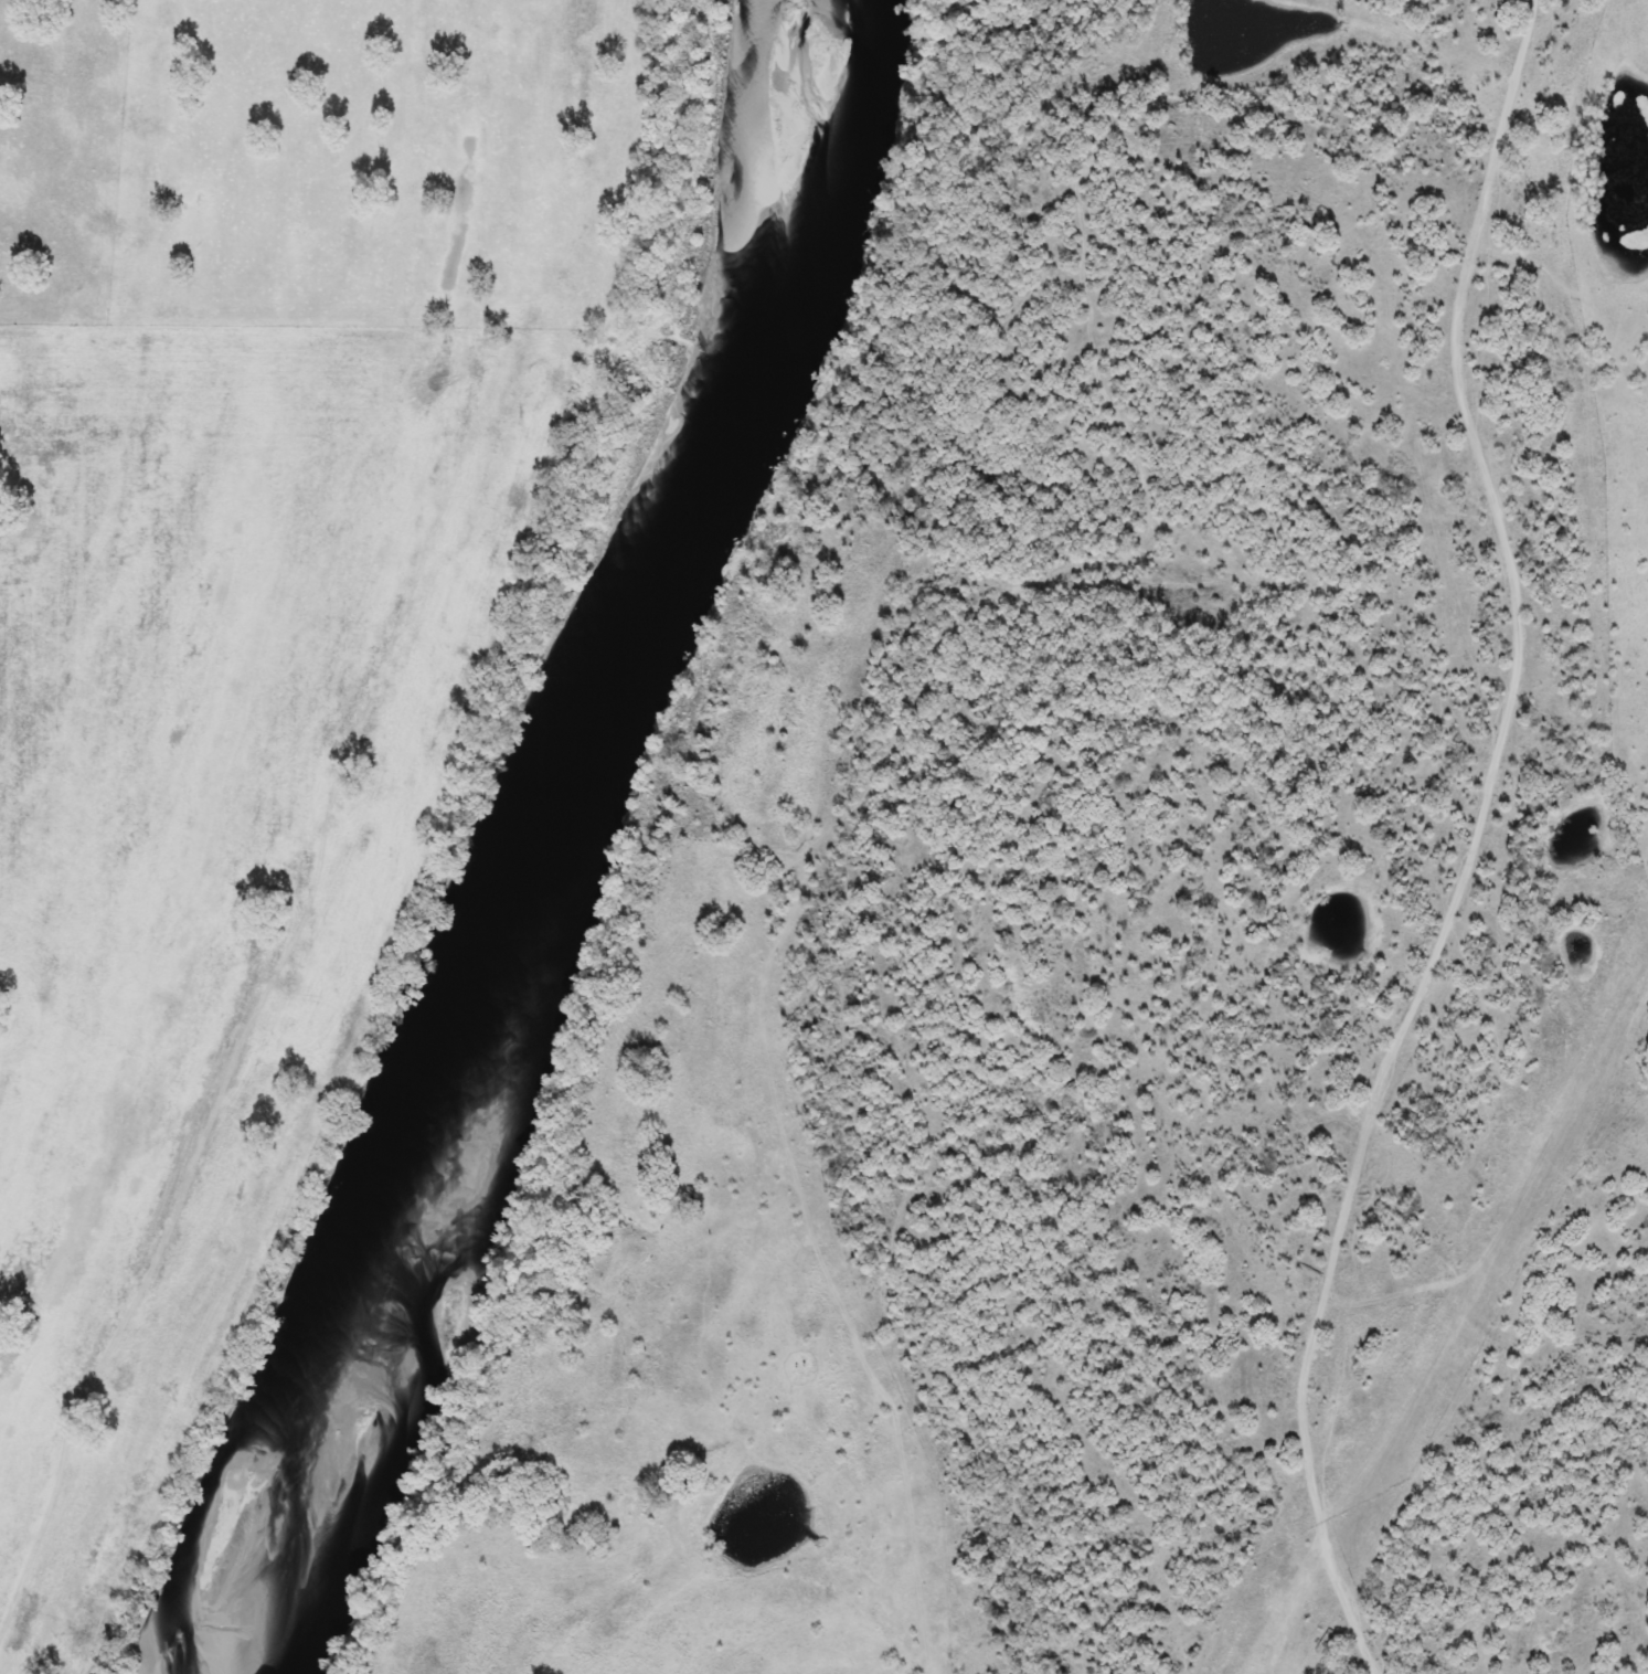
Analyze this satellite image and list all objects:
river: (826, 214)
river: (540, 851)

